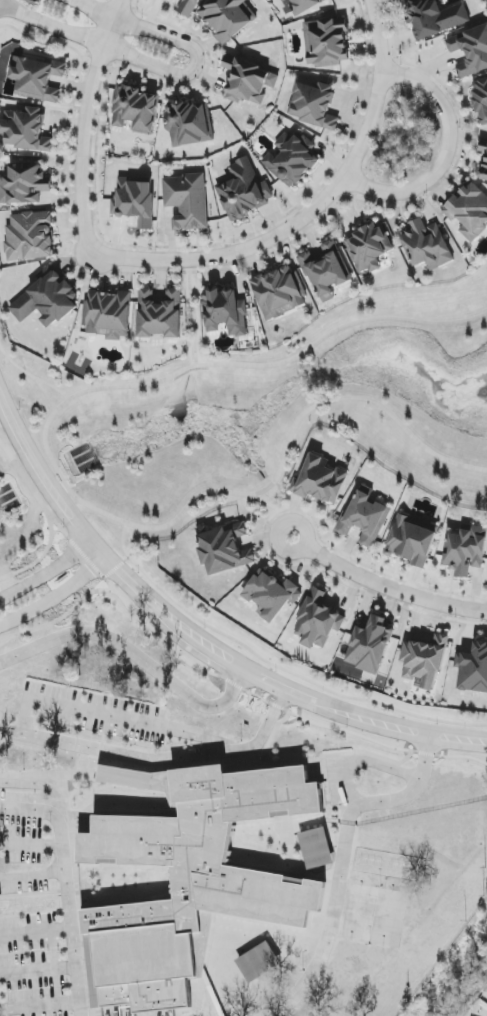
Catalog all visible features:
building: (304, 5)
building: (188, 7)
building: (226, 18)
building: (326, 42)
building: (470, 50)
road: (169, 72)
building: (37, 78)
building: (249, 81)
building: (481, 100)
building: (314, 105)
building: (135, 109)
building: (188, 123)
road: (84, 124)
building: (26, 130)
road: (445, 153)
building: (290, 160)
building: (484, 160)
building: (24, 184)
building: (244, 191)
building: (134, 201)
building: (187, 201)
road: (310, 211)
building: (469, 211)
building: (30, 236)
building: (427, 245)
building: (369, 246)
building: (326, 271)
building: (280, 292)
building: (47, 299)
building: (224, 311)
road: (193, 313)
building: (108, 314)
building: (160, 314)
road: (30, 378)
road: (54, 389)
road: (61, 481)
building: (320, 481)
road: (45, 506)
road: (278, 512)
building: (365, 518)
road: (57, 530)
road: (133, 540)
building: (412, 540)
road: (121, 541)
building: (224, 548)
building: (466, 550)
road: (98, 552)
road: (42, 559)
road: (115, 568)
road: (46, 573)
road: (384, 587)
building: (271, 595)
road: (55, 597)
building: (318, 621)
road: (11, 638)
building: (370, 645)
road: (134, 654)
building: (424, 660)
building: (473, 668)
road: (292, 674)
road: (265, 680)
road: (242, 690)
road: (117, 718)
road: (386, 725)
road: (456, 758)
road: (159, 760)
road: (363, 760)
road: (158, 771)
road: (31, 811)
road: (33, 845)
building: (316, 848)
road: (341, 862)
road: (66, 874)
road: (33, 876)
building: (188, 880)
park: (372, 915)
road: (36, 931)
building: (259, 962)
road: (38, 971)
road: (39, 1005)
road: (0, 1014)

